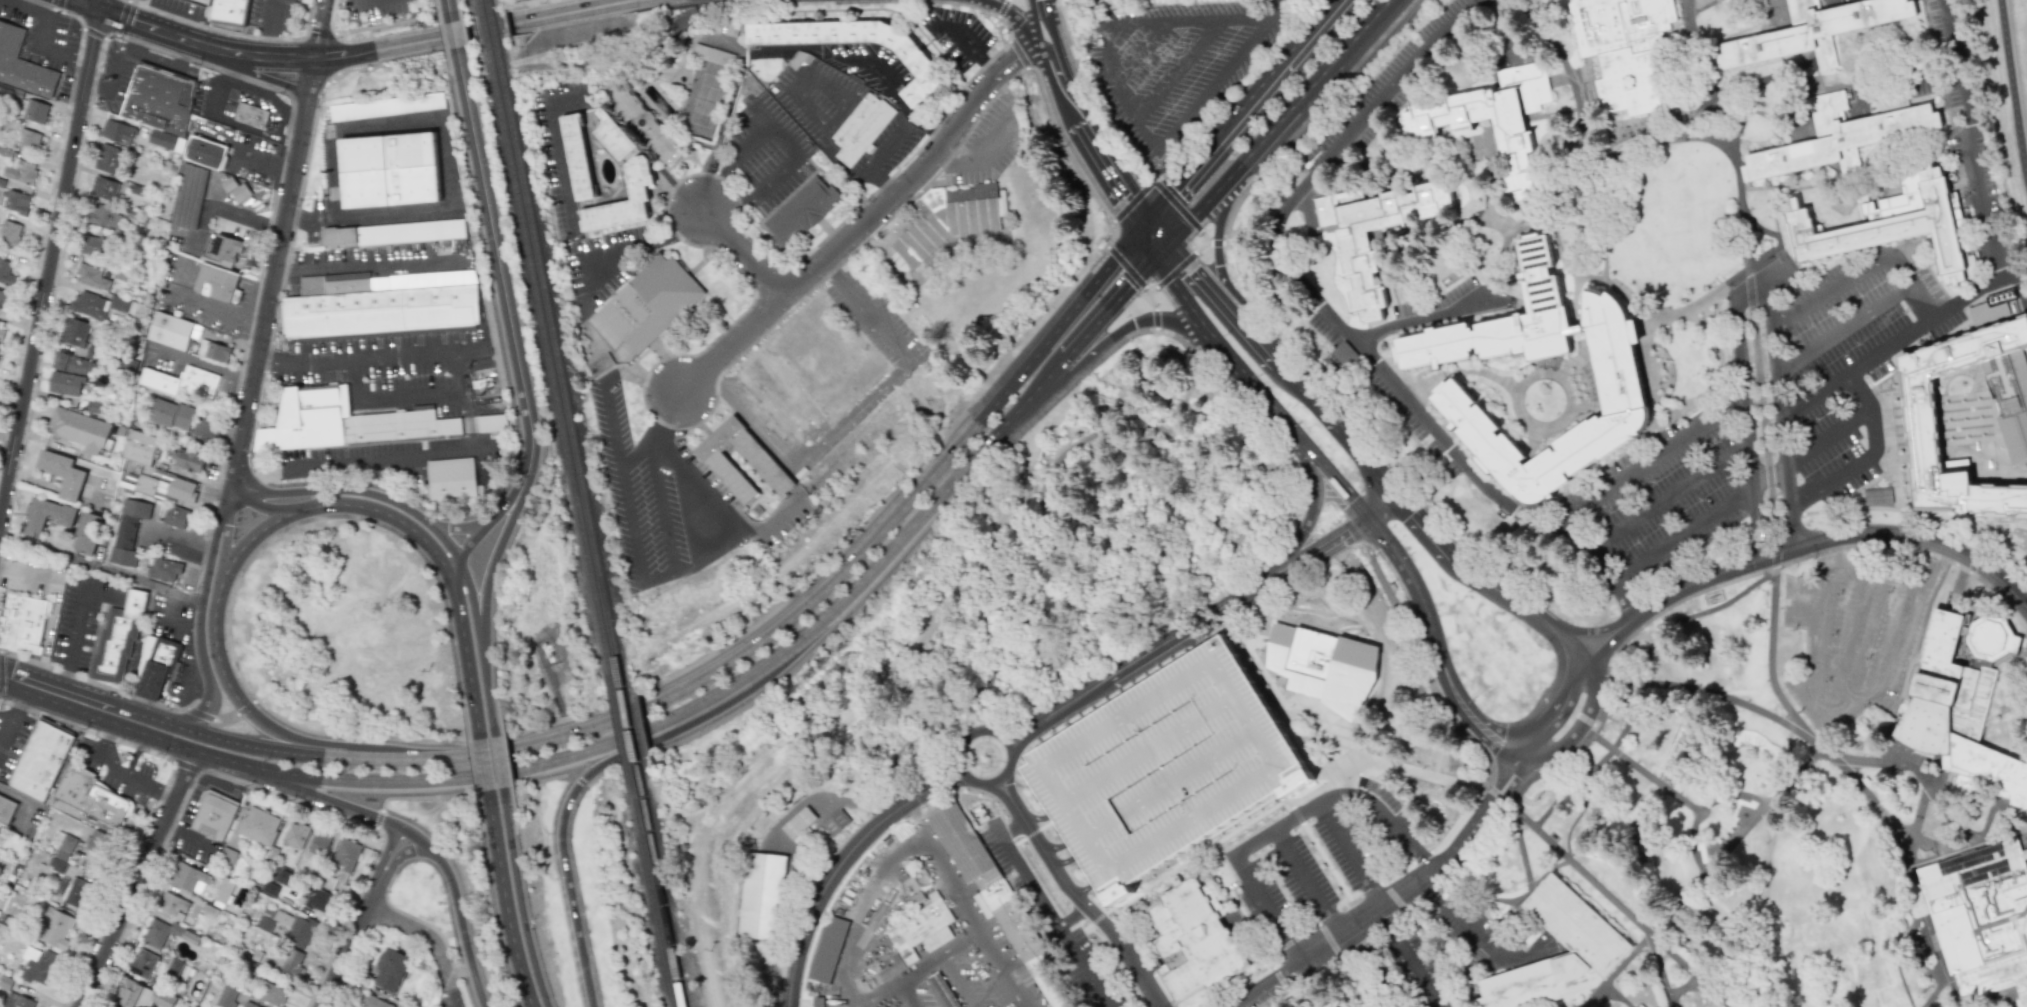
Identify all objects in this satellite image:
road: (360, 1)
road: (370, 1)
building: (203, 2)
road: (79, 4)
road: (91, 4)
road: (1275, 6)
parking lot: (183, 7)
road: (1002, 7)
parking lot: (371, 9)
building: (231, 11)
parking lot: (279, 13)
road: (1013, 15)
road: (1461, 16)
road: (331, 17)
road: (1033, 18)
road: (383, 25)
road: (1007, 25)
railway: (492, 28)
road: (271, 29)
railway: (483, 29)
road: (1365, 30)
building: (1812, 30)
road: (318, 31)
road: (470, 31)
road: (43, 32)
parking lot: (955, 34)
road: (177, 37)
road: (447, 40)
road: (1056, 46)
building: (1621, 49)
road: (969, 51)
road: (1140, 52)
road: (1016, 54)
building: (713, 55)
road: (1014, 56)
road: (290, 60)
parking lot: (1173, 62)
building: (918, 63)
building: (22, 64)
road: (1054, 66)
road: (1696, 67)
road: (1178, 69)
road: (120, 70)
road: (265, 78)
road: (2013, 79)
road: (1905, 81)
road: (1753, 83)
road: (309, 84)
road: (1052, 85)
road: (1827, 88)
parking lot: (1383, 92)
road: (842, 95)
road: (895, 96)
road: (1335, 97)
park: (704, 98)
building: (160, 99)
road: (1121, 99)
road: (587, 102)
building: (386, 106)
road: (1081, 106)
road: (1582, 108)
road: (1244, 110)
building: (36, 111)
building: (250, 114)
road: (1552, 114)
road: (1286, 117)
road: (225, 118)
building: (642, 119)
building: (0, 120)
building: (1495, 121)
road: (1779, 121)
building: (860, 128)
building: (117, 132)
building: (1841, 135)
building: (611, 136)
building: (29, 141)
building: (166, 141)
road: (1064, 145)
road: (988, 149)
building: (204, 151)
road: (443, 152)
parking lot: (763, 154)
building: (576, 156)
road: (943, 157)
building: (108, 159)
road: (876, 160)
road: (1971, 160)
road: (263, 165)
road: (732, 165)
road: (1903, 167)
building: (387, 170)
building: (20, 171)
road: (1114, 171)
road: (1735, 172)
road: (774, 176)
road: (1492, 178)
road: (1156, 184)
road: (1796, 187)
building: (104, 188)
building: (236, 190)
building: (638, 193)
road: (1567, 193)
building: (189, 196)
building: (16, 202)
road: (1201, 204)
road: (220, 207)
building: (801, 210)
building: (103, 216)
building: (942, 219)
building: (1889, 224)
road: (1158, 230)
building: (9, 233)
building: (393, 233)
road: (1768, 233)
road: (1113, 234)
road: (1595, 234)
road: (1204, 237)
road: (1216, 237)
road: (1149, 240)
road: (846, 244)
road: (1204, 245)
building: (93, 246)
building: (225, 247)
road: (632, 248)
road: (1161, 248)
building: (1358, 252)
road: (48, 257)
road: (742, 257)
road: (1245, 257)
road: (494, 260)
road: (364, 263)
road: (1126, 266)
road: (1752, 267)
road: (1174, 270)
road: (1200, 270)
road: (1860, 272)
building: (6, 273)
building: (91, 276)
road: (1583, 277)
building: (217, 283)
road: (1152, 290)
road: (1178, 291)
road: (1150, 297)
road: (1967, 297)
building: (5, 298)
road: (267, 299)
building: (647, 304)
building: (89, 305)
road: (201, 306)
road: (1109, 307)
building: (380, 311)
road: (868, 311)
road: (1417, 318)
road: (1154, 319)
parking lot: (876, 321)
road: (1841, 327)
building: (71, 331)
building: (170, 331)
road: (1577, 331)
road: (1116, 332)
road: (1255, 332)
building: (2, 334)
building: (212, 350)
road: (370, 354)
parking lot: (1848, 354)
building: (1340, 356)
road: (1229, 357)
building: (72, 364)
road: (210, 365)
road: (1461, 369)
road: (1854, 370)
road: (1054, 371)
railway: (562, 374)
road: (1555, 375)
railway: (552, 376)
building: (183, 380)
road: (1392, 382)
building: (65, 384)
building: (1619, 385)
road: (408, 397)
building: (774, 397)
road: (1228, 409)
road: (1761, 410)
road: (1866, 413)
building: (171, 414)
building: (1920, 414)
road: (1666, 416)
building: (345, 421)
road: (1284, 422)
building: (491, 423)
road: (1336, 427)
building: (79, 430)
road: (469, 432)
road: (1824, 438)
road: (1891, 445)
road: (1997, 445)
road: (1982, 446)
building: (140, 448)
road: (1530, 449)
road: (1971, 452)
road: (1908, 456)
building: (189, 461)
road: (809, 463)
road: (339, 466)
building: (767, 467)
building: (62, 474)
road: (2001, 474)
road: (2026, 475)
road: (191, 477)
road: (655, 477)
building: (450, 478)
road: (1832, 484)
road: (517, 485)
road: (1338, 486)
building: (166, 489)
road: (1043, 491)
road: (358, 492)
road: (1674, 492)
parking lot: (674, 498)
parking lot: (1660, 498)
road: (261, 504)
road: (1378, 504)
railway: (609, 506)
road: (1907, 510)
road: (923, 513)
road: (1311, 513)
building: (46, 516)
building: (175, 517)
road: (1421, 525)
road: (454, 527)
road: (746, 529)
building: (128, 531)
building: (86, 533)
road: (502, 535)
road: (1684, 537)
road: (226, 541)
road: (471, 542)
road: (1326, 542)
road: (1805, 547)
road: (913, 550)
road: (1806, 556)
road: (100, 567)
road: (444, 567)
road: (666, 567)
building: (165, 569)
road: (454, 570)
road: (1407, 573)
road: (1382, 580)
road: (1957, 581)
road: (818, 593)
road: (102, 594)
road: (215, 597)
road: (1518, 603)
road: (199, 612)
road: (180, 618)
building: (23, 623)
parking lot: (1856, 629)
road: (1854, 631)
road: (71, 638)
building: (1990, 638)
building: (117, 640)
road: (1202, 645)
road: (480, 648)
road: (1150, 659)
building: (1322, 661)
road: (1777, 662)
building: (156, 668)
road: (1642, 675)
road: (1, 676)
road: (30, 676)
road: (1421, 678)
road: (10, 687)
road: (1720, 694)
road: (86, 695)
road: (711, 695)
road: (1462, 696)
road: (1559, 704)
road: (1455, 710)
road: (11, 717)
building: (1957, 718)
road: (965, 735)
road: (1569, 738)
road: (301, 741)
road: (237, 742)
railway: (635, 742)
railway: (626, 745)
road: (1568, 750)
road: (134, 755)
building: (41, 758)
road: (498, 761)
road: (483, 765)
building: (1165, 769)
parking garage: (1165, 769)
road: (601, 771)
road: (120, 774)
road: (314, 776)
road: (548, 777)
road: (580, 780)
road: (1449, 780)
road: (1662, 782)
building: (91, 795)
road: (422, 798)
road: (25, 802)
road: (1290, 804)
road: (1512, 808)
building: (5, 809)
road: (1029, 811)
road: (1578, 814)
road: (1994, 814)
building: (214, 815)
road: (1261, 815)
road: (1296, 815)
road: (378, 819)
road: (1457, 819)
road: (1288, 821)
building: (798, 822)
building: (835, 822)
building: (258, 825)
road: (1011, 828)
road: (2026, 831)
road: (1043, 832)
road: (1906, 833)
road: (186, 835)
building: (295, 835)
road: (1693, 840)
road: (1735, 840)
building: (98, 842)
building: (319, 843)
road: (423, 845)
building: (63, 846)
building: (2024, 853)
road: (1060, 854)
road: (383, 855)
building: (345, 857)
road: (1348, 857)
road: (1421, 857)
road: (397, 860)
building: (56, 865)
road: (564, 865)
road: (840, 865)
parking lot: (1325, 867)
road: (1329, 868)
road: (1396, 872)
road: (137, 877)
building: (189, 877)
building: (286, 878)
building: (324, 879)
road: (1077, 882)
road: (1307, 883)
road: (1913, 886)
road: (1369, 889)
building: (77, 893)
building: (223, 893)
road: (577, 893)
building: (995, 894)
road: (1405, 895)
road: (1077, 896)
road: (519, 898)
building: (762, 898)
building: (915, 898)
building: (316, 899)
road: (505, 899)
railway: (666, 899)
road: (1355, 899)
railway: (656, 902)
road: (1762, 904)
building: (172, 905)
road: (965, 905)
parking lot: (1057, 914)
road: (1071, 915)
road: (1626, 916)
road: (1095, 919)
building: (1981, 919)
road: (1056, 923)
road: (851, 925)
building: (1577, 926)
building: (54, 928)
building: (301, 929)
building: (917, 930)
building: (165, 933)
road: (421, 934)
road: (1474, 935)
building: (1194, 938)
road: (347, 945)
building: (827, 949)
road: (940, 959)
road: (1409, 959)
road: (1898, 959)
building: (288, 961)
building: (142, 963)
building: (37, 965)
road: (1372, 969)
building: (390, 970)
road: (1614, 971)
road: (1661, 972)
road: (1937, 973)
building: (168, 976)
building: (5, 982)
road: (959, 982)
road: (1681, 987)
road: (1950, 988)
building: (272, 994)
road: (1616, 994)
building: (141, 995)
road: (905, 996)
building: (226, 997)
road: (451, 997)
building: (16, 1000)
building: (817, 1001)
building: (374, 1002)
building: (248, 1004)
building: (1330, 1005)
road: (1025, 1006)
road: (1026, 1006)

